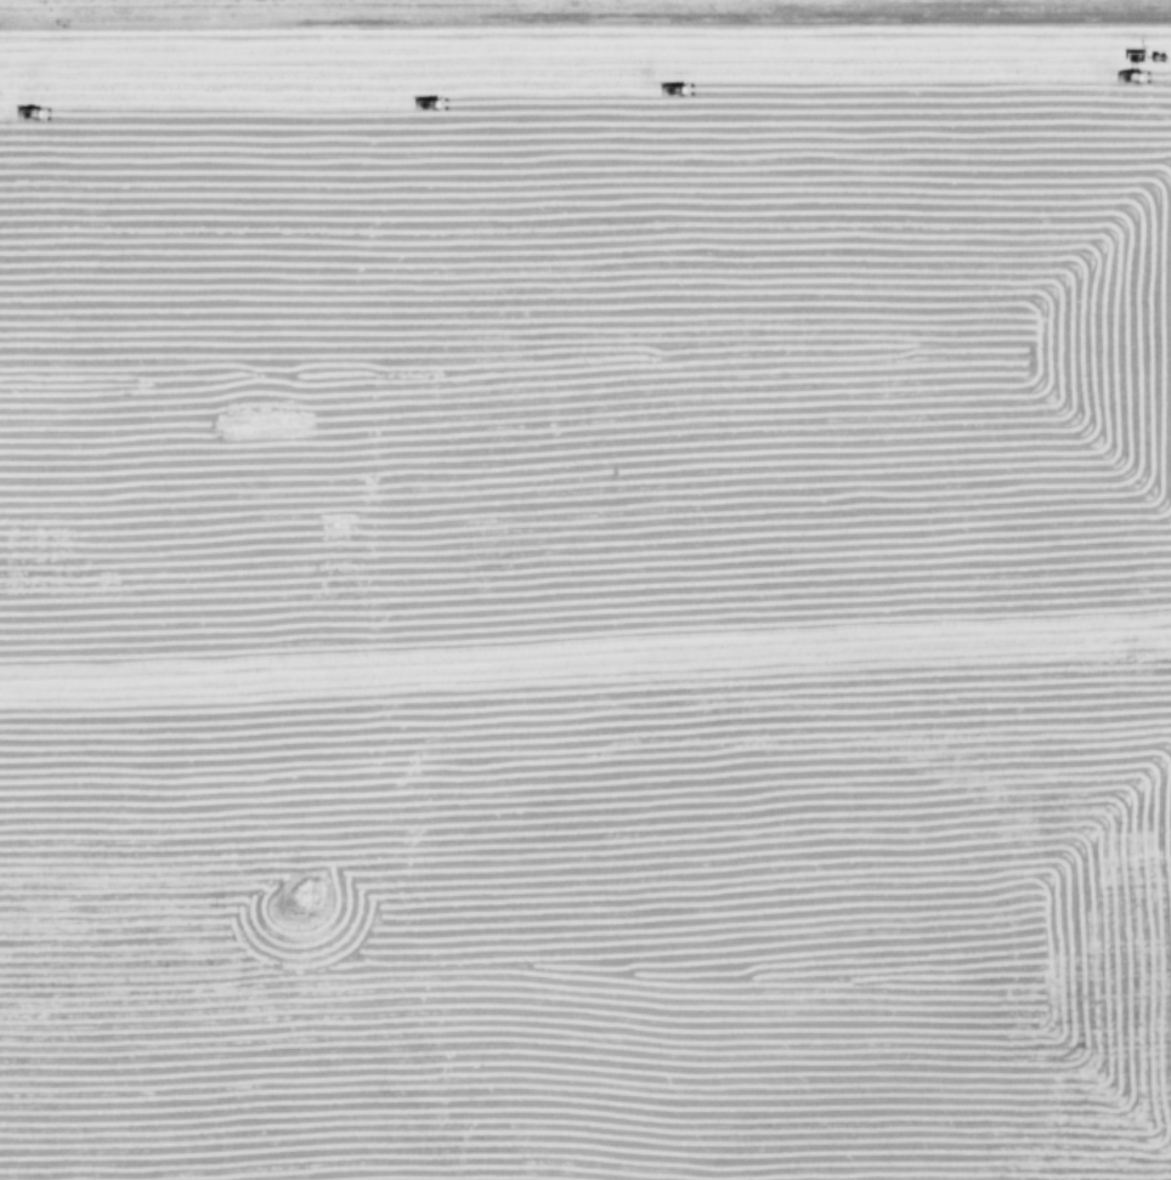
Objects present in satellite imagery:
crop: (585, 590)

